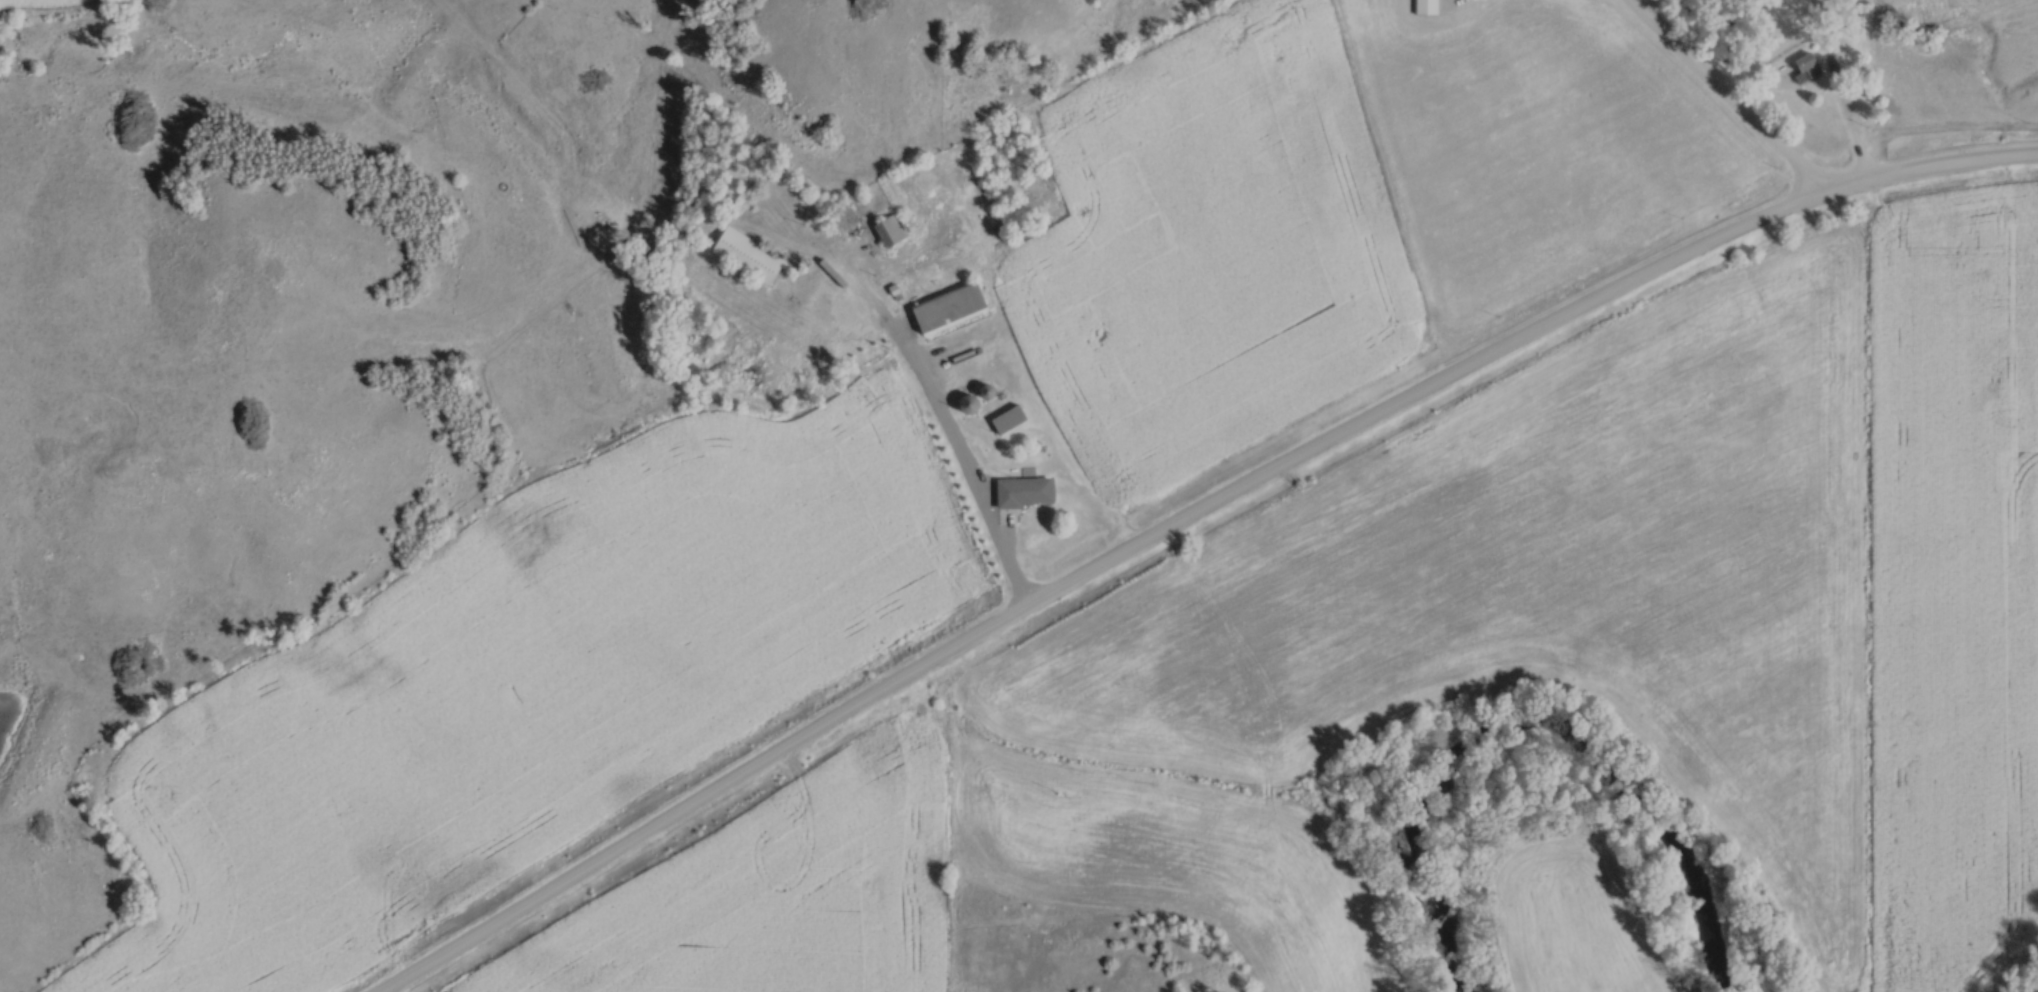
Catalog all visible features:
building: (1427, 7)
road: (1770, 55)
building: (1803, 67)
road: (1720, 95)
road: (1848, 121)
road: (1824, 191)
building: (1012, 212)
building: (890, 232)
building: (750, 257)
building: (734, 295)
building: (950, 307)
building: (586, 369)
road: (923, 387)
building: (1011, 420)
building: (1026, 492)
road: (1189, 517)

